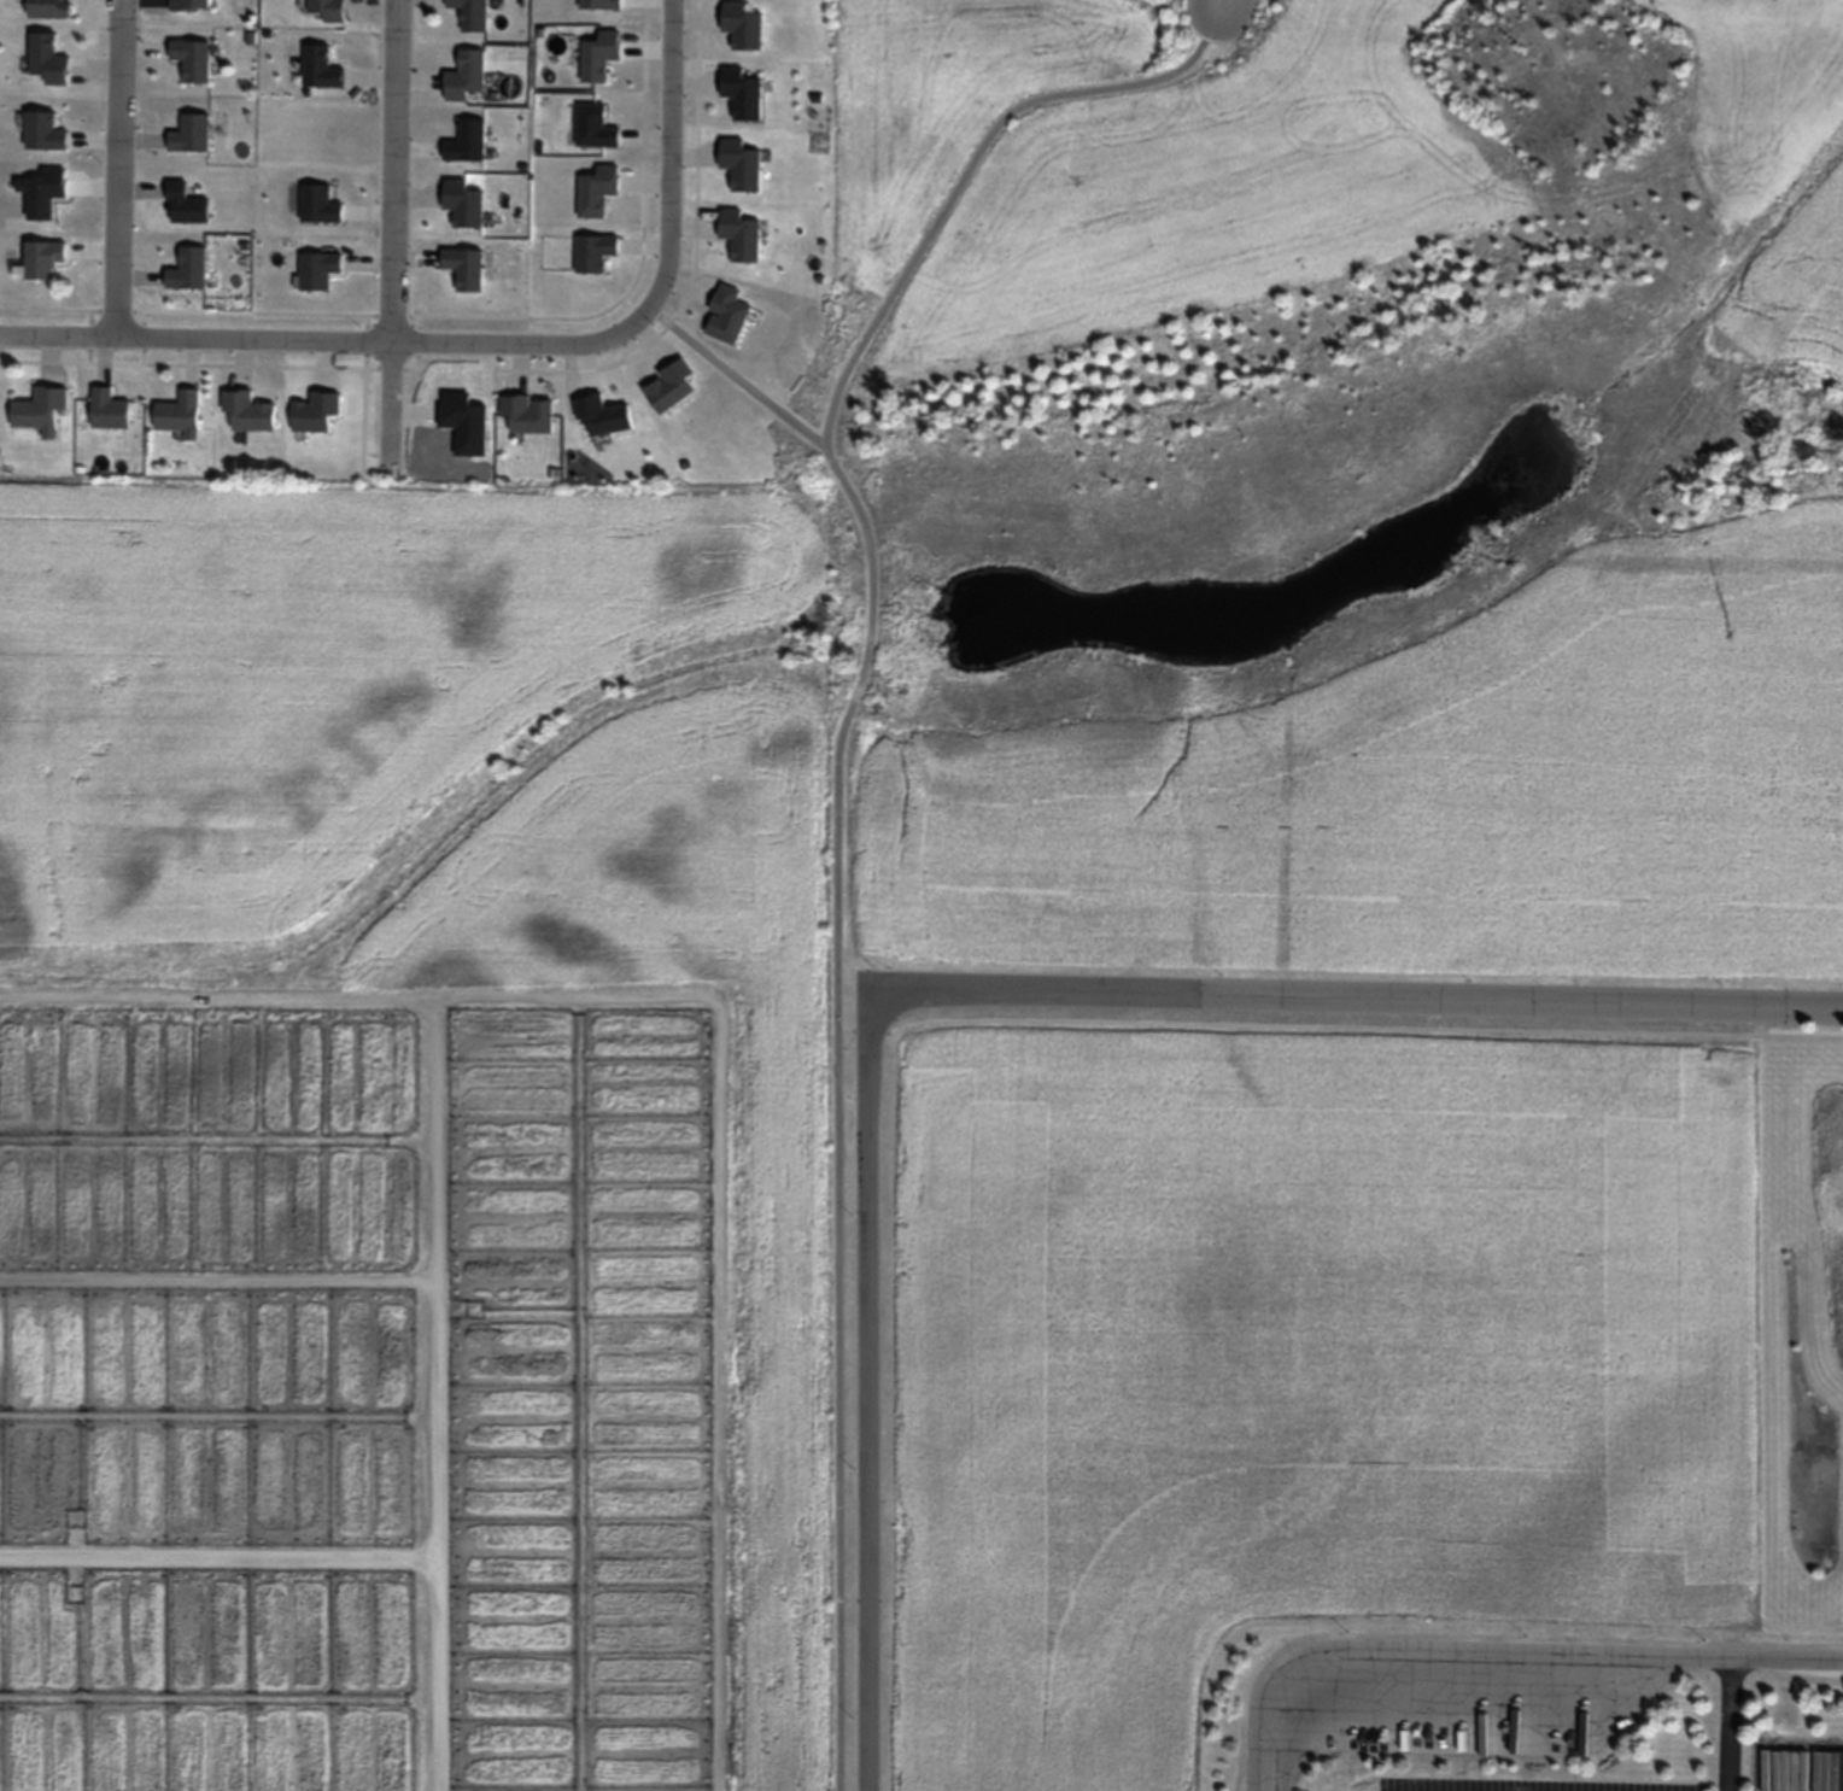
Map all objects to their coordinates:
building: (602, 4)
road: (1223, 4)
building: (192, 5)
building: (49, 8)
building: (330, 8)
building: (474, 13)
building: (744, 24)
building: (602, 55)
building: (193, 58)
building: (49, 59)
building: (468, 75)
building: (744, 92)
crop: (949, 107)
building: (47, 130)
building: (192, 133)
building: (468, 141)
building: (743, 163)
road: (117, 166)
building: (47, 192)
building: (466, 203)
building: (187, 204)
building: (742, 234)
road: (391, 236)
building: (596, 253)
building: (43, 258)
building: (189, 268)
building: (320, 269)
road: (484, 339)
road: (736, 375)
building: (110, 408)
building: (42, 409)
building: (250, 411)
building: (181, 412)
building: (530, 412)
building: (603, 415)
crop: (1377, 514)
road: (838, 791)
road: (1356, 994)
crop: (417, 1136)
road: (867, 1387)
road: (1443, 1652)
road: (1785, 1657)
road: (1726, 1723)

